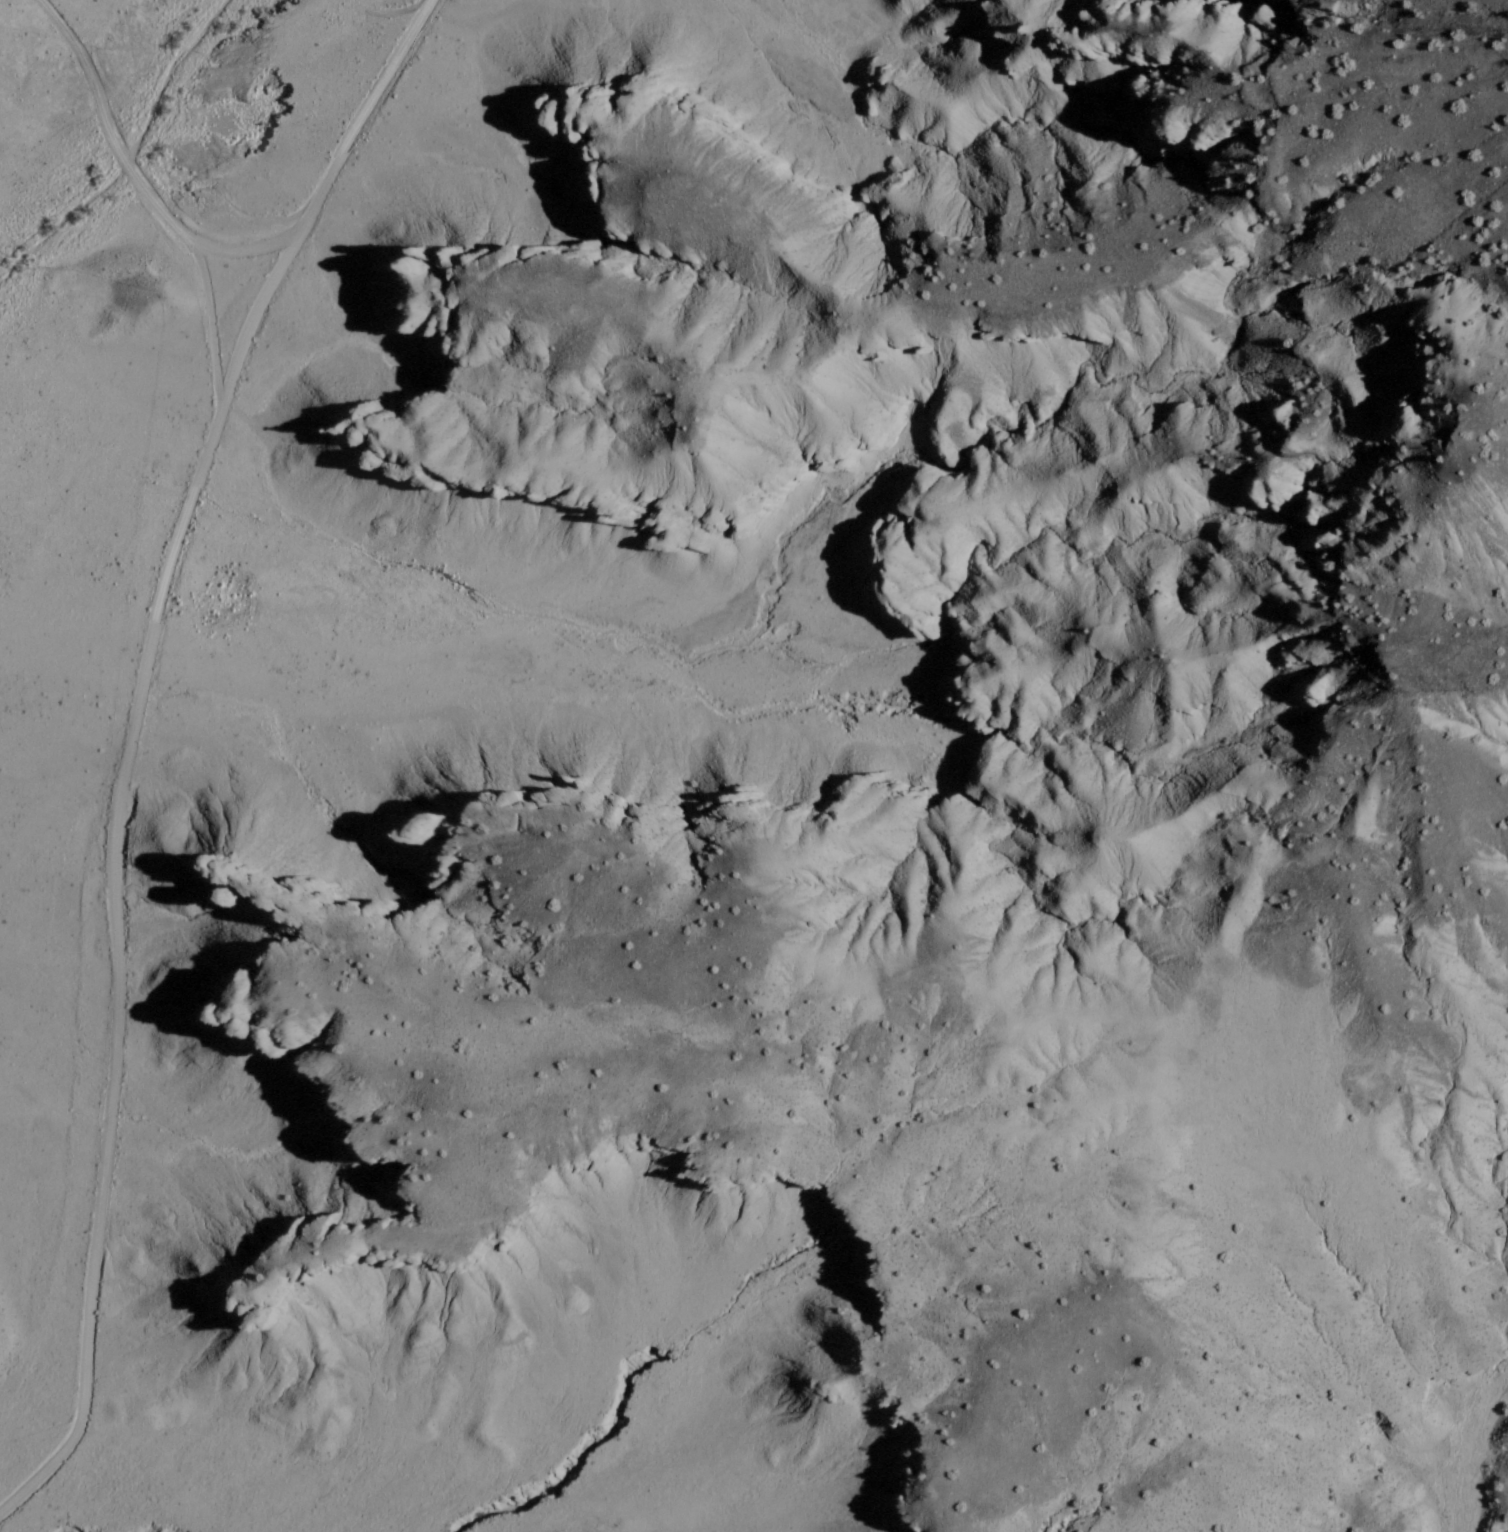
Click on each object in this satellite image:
road: (136, 173)
road: (207, 330)
road: (134, 740)

